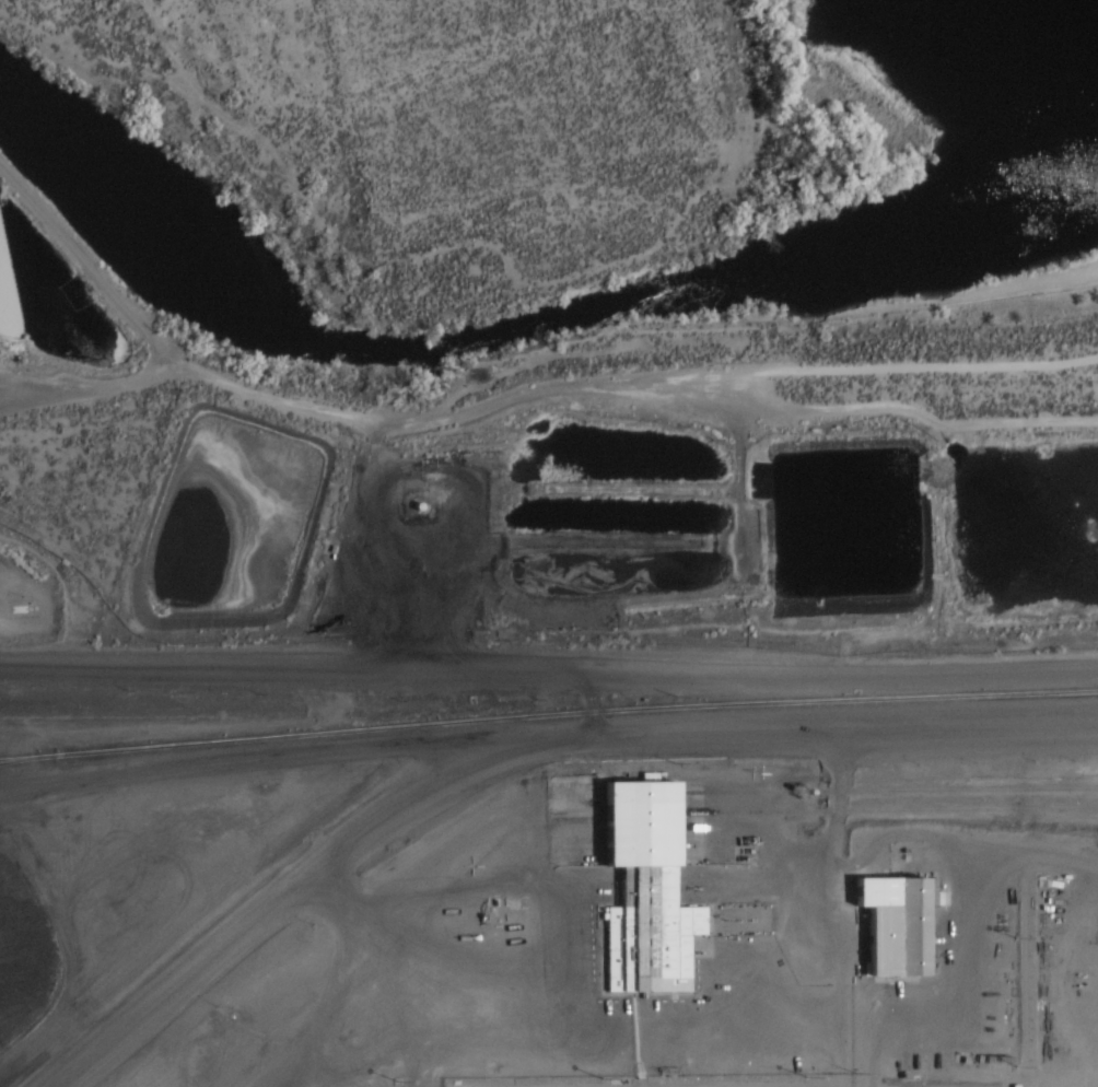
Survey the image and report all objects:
railway: (548, 716)
road: (510, 746)
railway: (32, 761)
railway: (823, 788)
railway: (827, 810)
railway: (1055, 811)
building: (636, 893)
power plant: (554, 895)
building: (886, 925)

